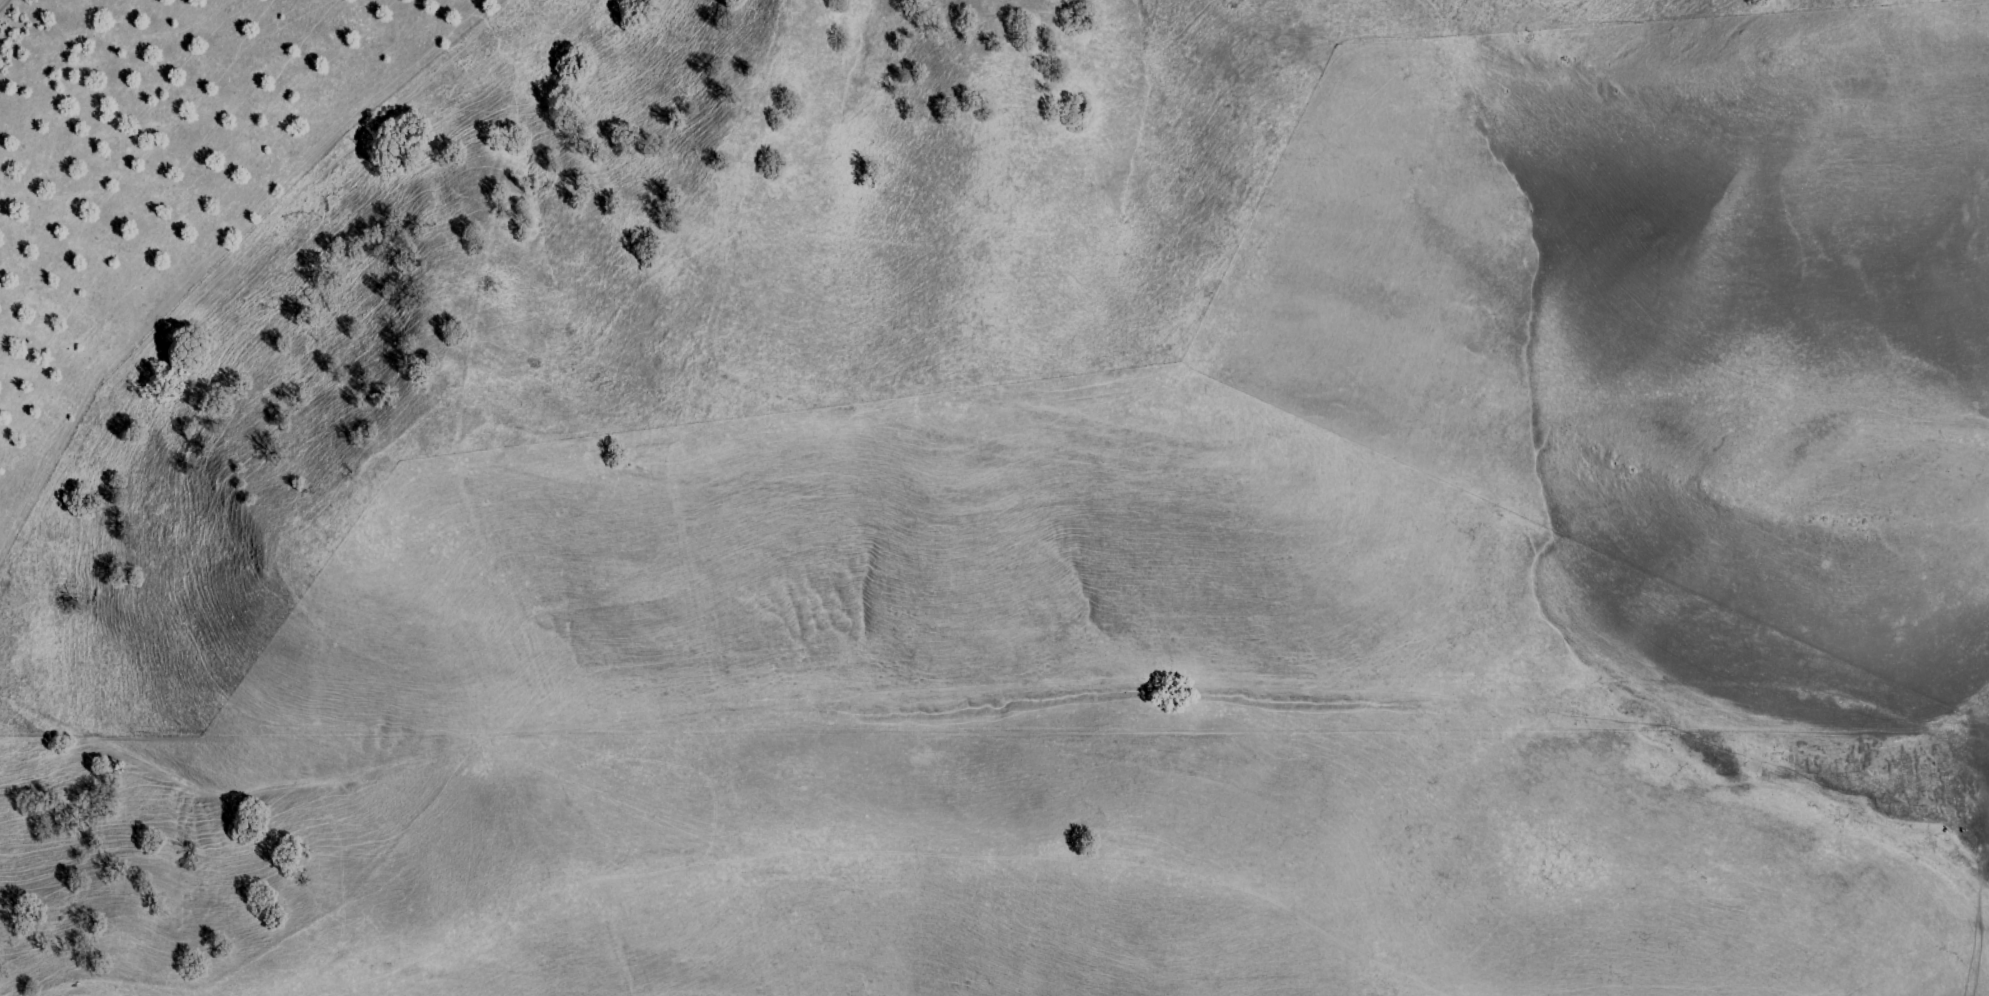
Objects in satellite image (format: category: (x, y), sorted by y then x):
park: (730, 271)
road: (1553, 553)

